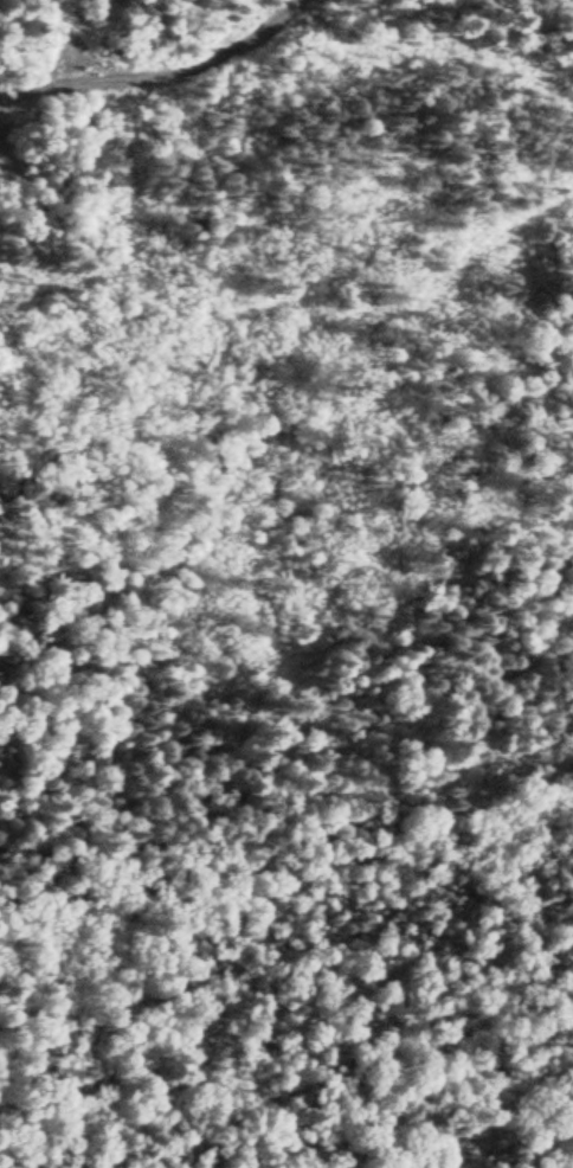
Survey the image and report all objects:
road: (161, 75)

